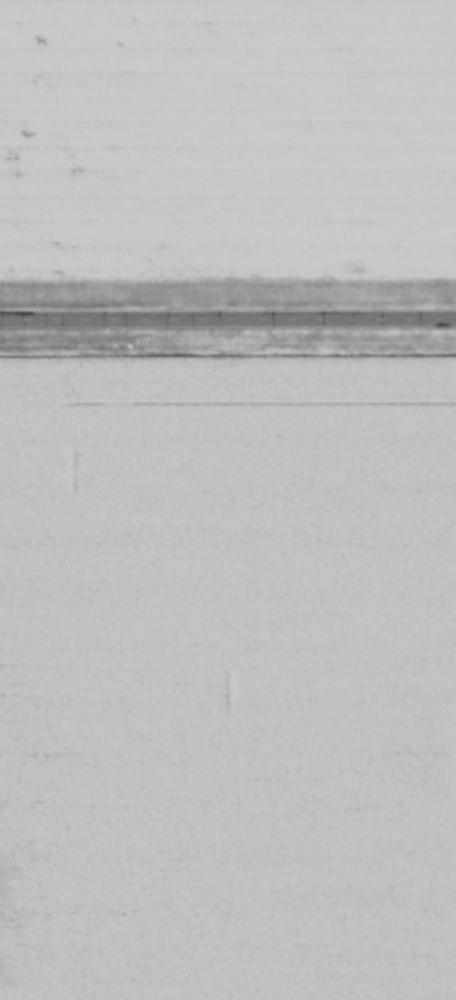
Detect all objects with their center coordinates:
road: (228, 324)

